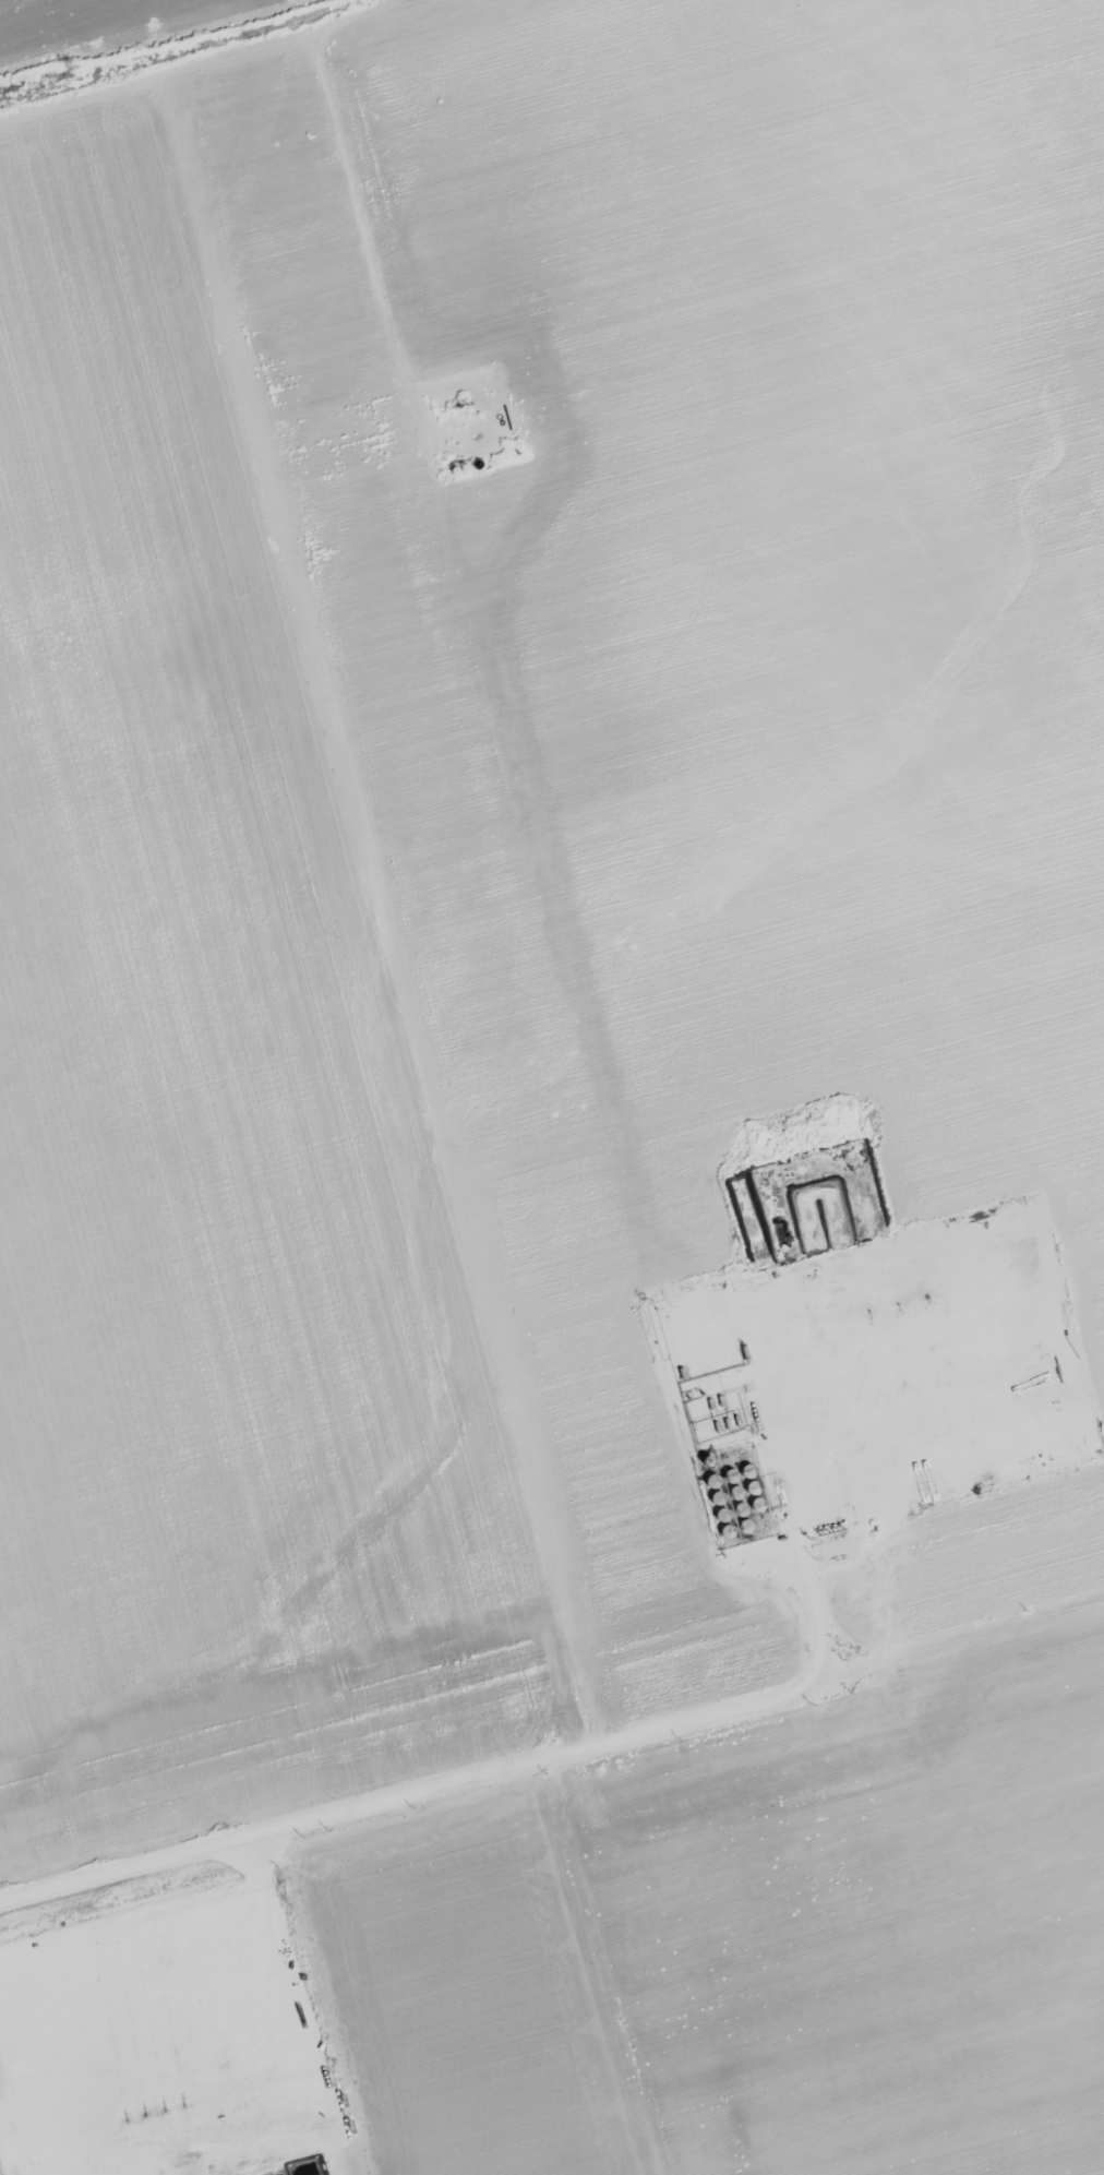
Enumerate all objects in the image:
road: (249, 65)

